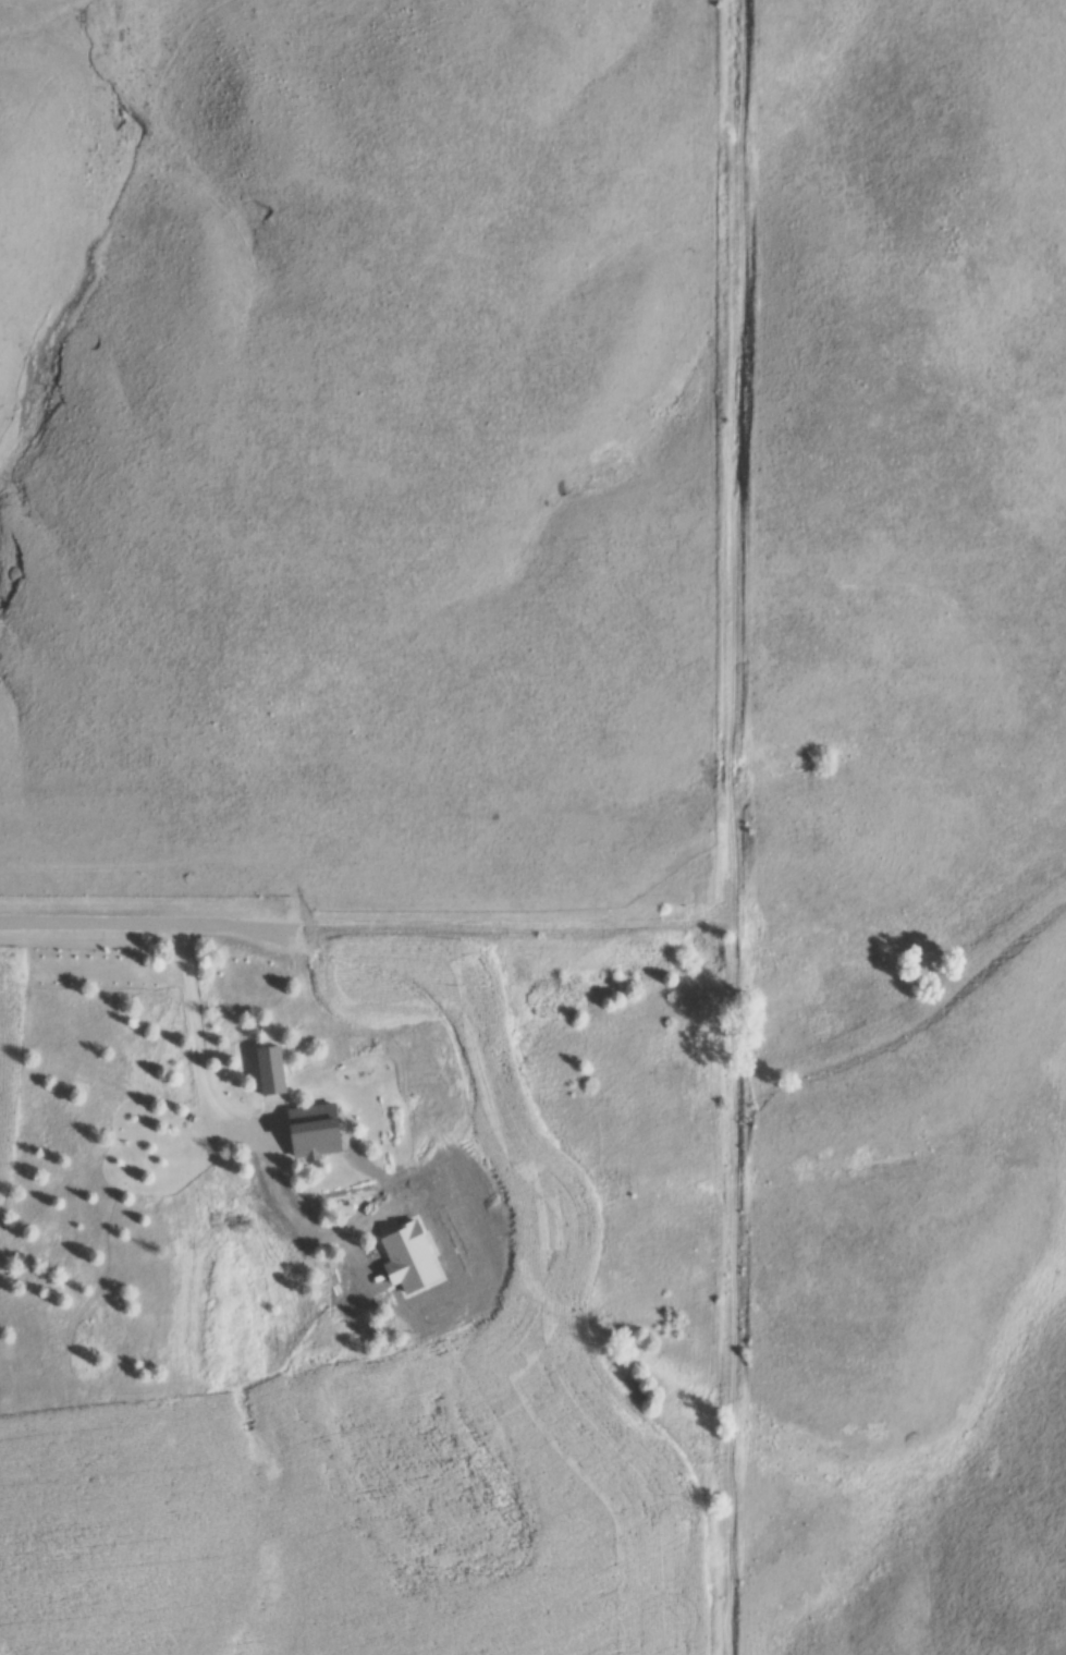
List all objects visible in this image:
road: (735, 827)
road: (148, 922)
road: (515, 925)
road: (194, 1037)
building: (323, 1130)

